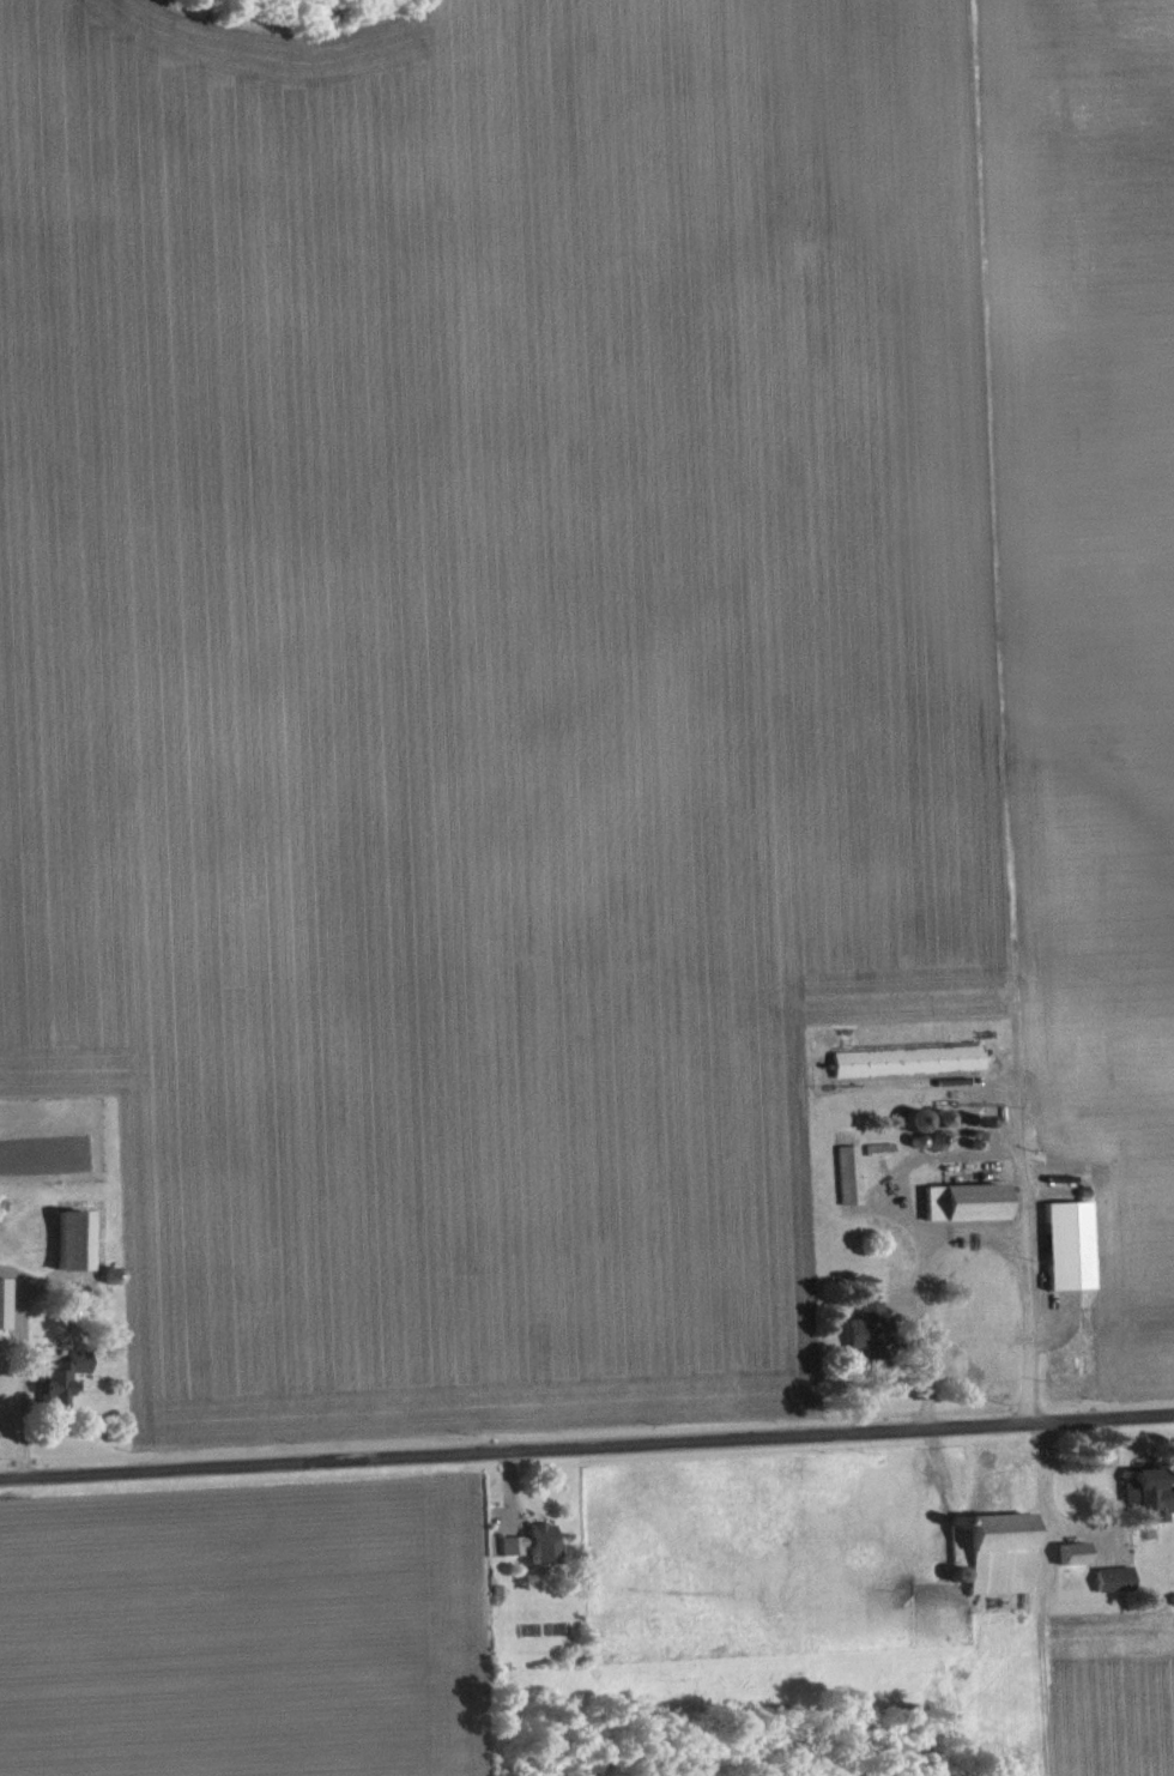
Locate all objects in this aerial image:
building: (910, 1068)
building: (884, 1156)
building: (853, 1182)
building: (968, 1209)
building: (75, 1248)
building: (1072, 1252)
road: (1021, 1258)
road: (916, 1292)
building: (5, 1311)
building: (872, 1337)
building: (65, 1385)
road: (22, 1418)
road: (586, 1449)
building: (1152, 1502)
road: (1076, 1530)
building: (537, 1551)
building: (1004, 1559)
building: (1077, 1561)
building: (1118, 1587)

